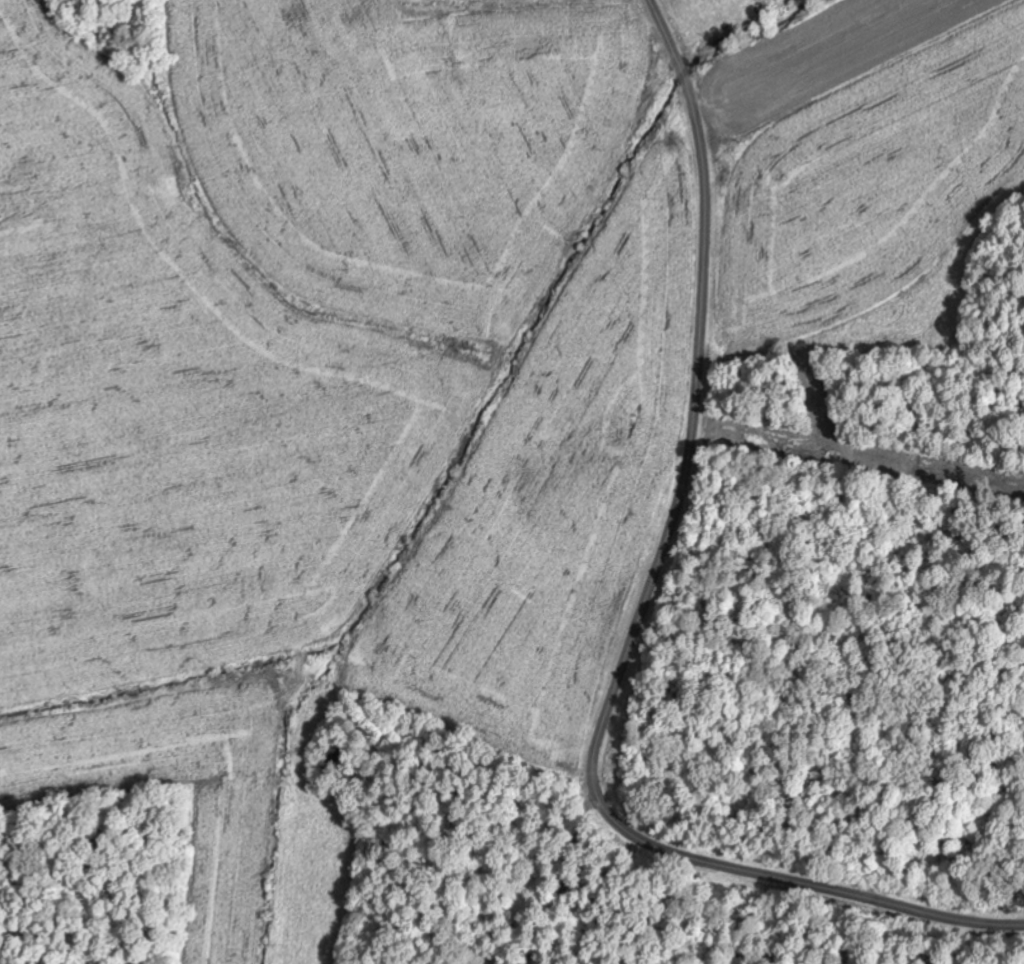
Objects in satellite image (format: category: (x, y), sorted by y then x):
road: (641, 620)

